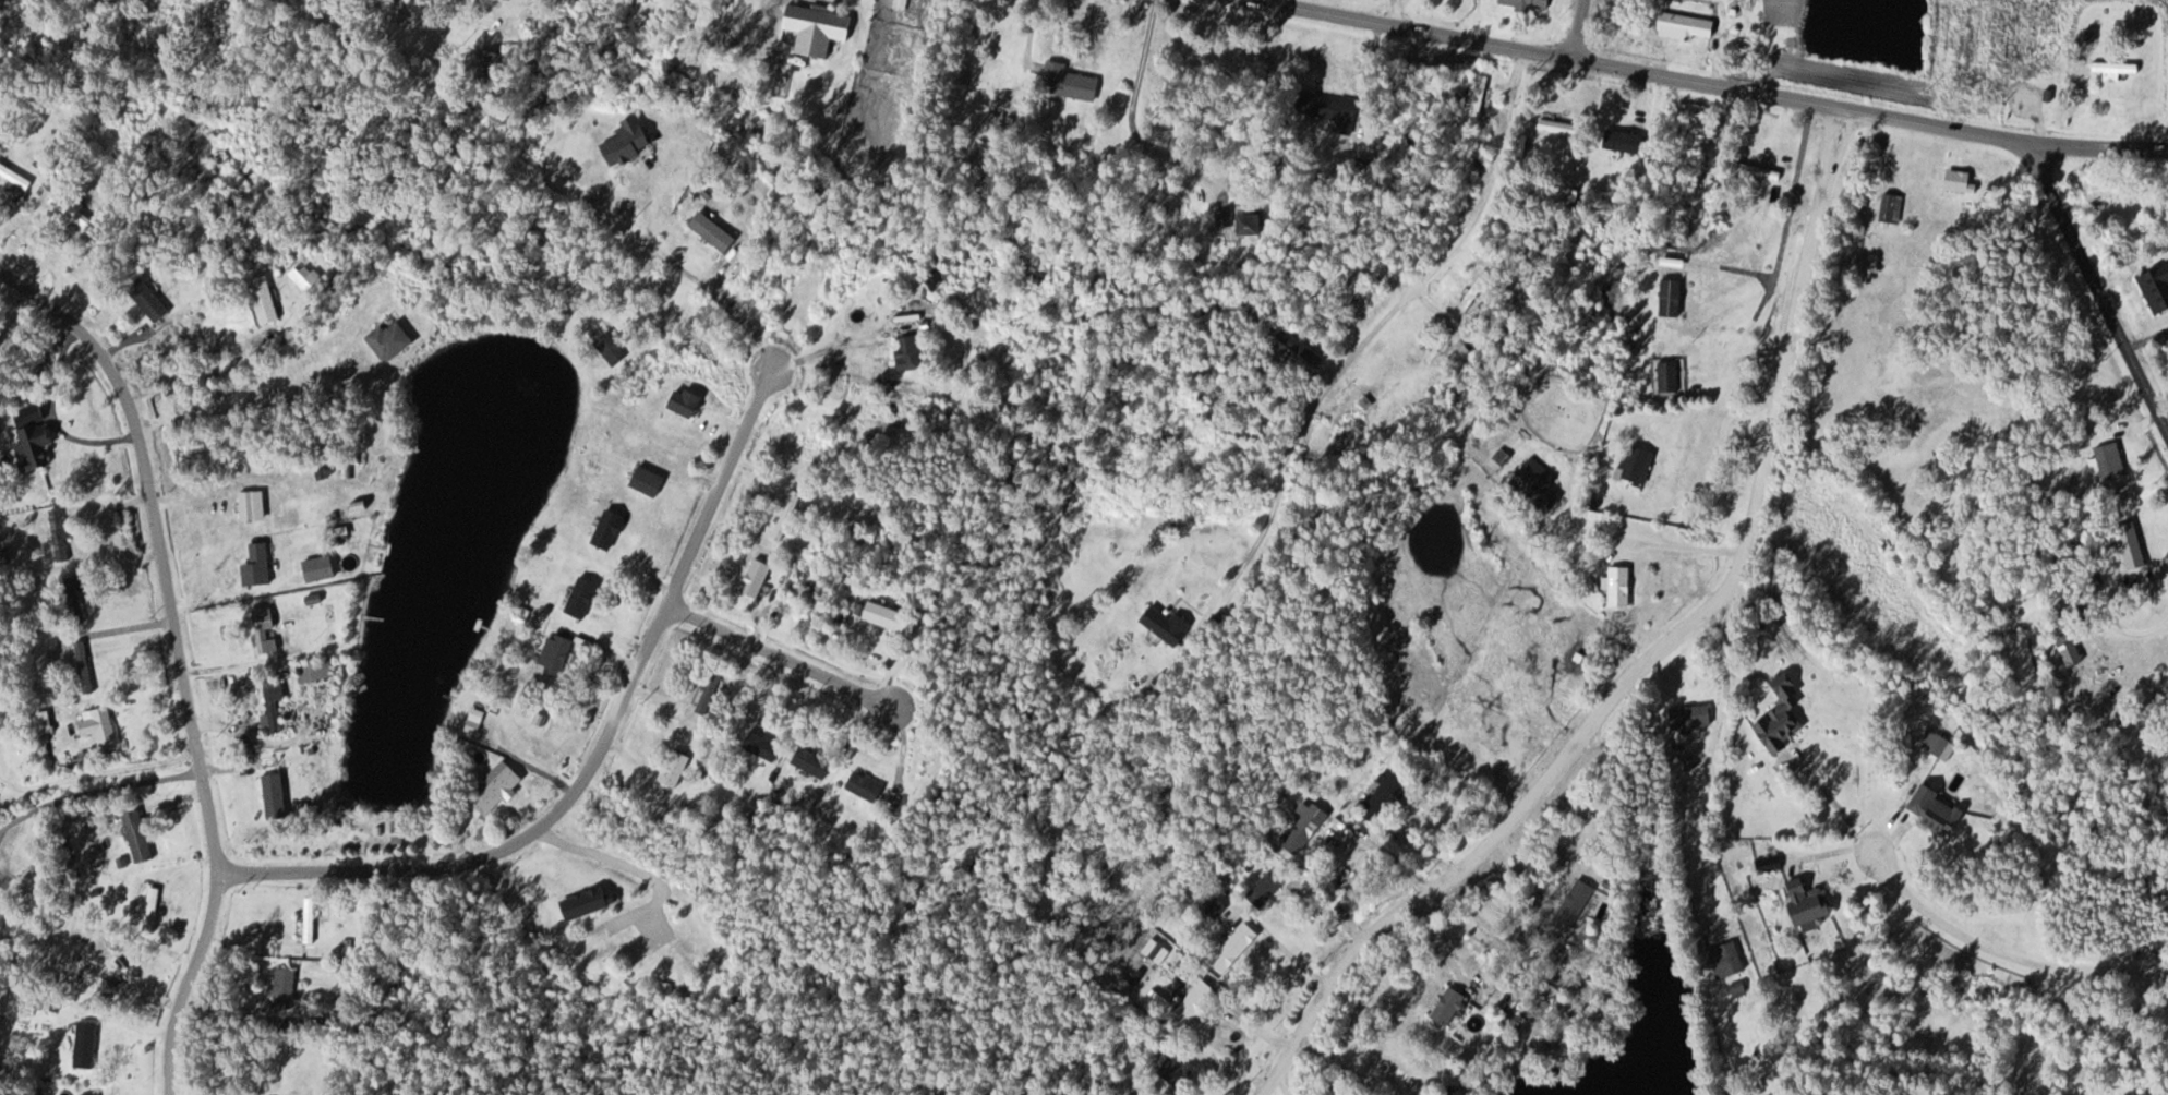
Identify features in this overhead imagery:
building: (1519, 3)
building: (1679, 25)
building: (810, 29)
road: (1578, 29)
building: (2110, 69)
building: (1063, 81)
road: (1707, 82)
building: (1473, 95)
building: (1320, 107)
building: (1542, 124)
building: (622, 139)
building: (1615, 140)
road: (1828, 141)
road: (1842, 144)
building: (1753, 170)
building: (2096, 188)
building: (1887, 207)
building: (1233, 221)
road: (1784, 224)
building: (707, 231)
building: (932, 281)
building: (2153, 285)
road: (2098, 292)
building: (1346, 294)
building: (1664, 297)
building: (265, 300)
building: (155, 303)
building: (397, 339)
building: (606, 347)
road: (1359, 350)
building: (903, 351)
building: (1662, 375)
building: (676, 400)
building: (35, 445)
building: (1630, 464)
building: (2106, 466)
building: (640, 479)
building: (1532, 483)
building: (255, 505)
building: (782, 515)
building: (601, 528)
building: (63, 536)
building: (2123, 543)
building: (262, 565)
building: (324, 568)
building: (749, 577)
building: (1614, 585)
building: (575, 597)
building: (882, 616)
building: (1159, 623)
building: (267, 626)
building: (2063, 650)
building: (549, 652)
road: (180, 657)
road: (776, 657)
building: (87, 667)
building: (318, 671)
road: (1626, 677)
building: (706, 689)
building: (277, 705)
building: (480, 714)
building: (1685, 715)
building: (1772, 725)
building: (104, 726)
building: (755, 744)
road: (592, 750)
building: (805, 760)
building: (666, 767)
building: (858, 785)
building: (501, 787)
building: (277, 793)
building: (1375, 796)
building: (1930, 809)
building: (1299, 826)
building: (143, 835)
building: (401, 837)
building: (1260, 889)
building: (1802, 903)
building: (1567, 905)
building: (155, 910)
building: (313, 920)
building: (1233, 941)
building: (603, 944)
road: (2007, 954)
building: (1720, 960)
building: (288, 987)
building: (1443, 1006)
building: (1183, 1008)
building: (89, 1044)
building: (1170, 1068)
road: (1282, 1082)
building: (1447, 1091)
building: (99, 1094)

